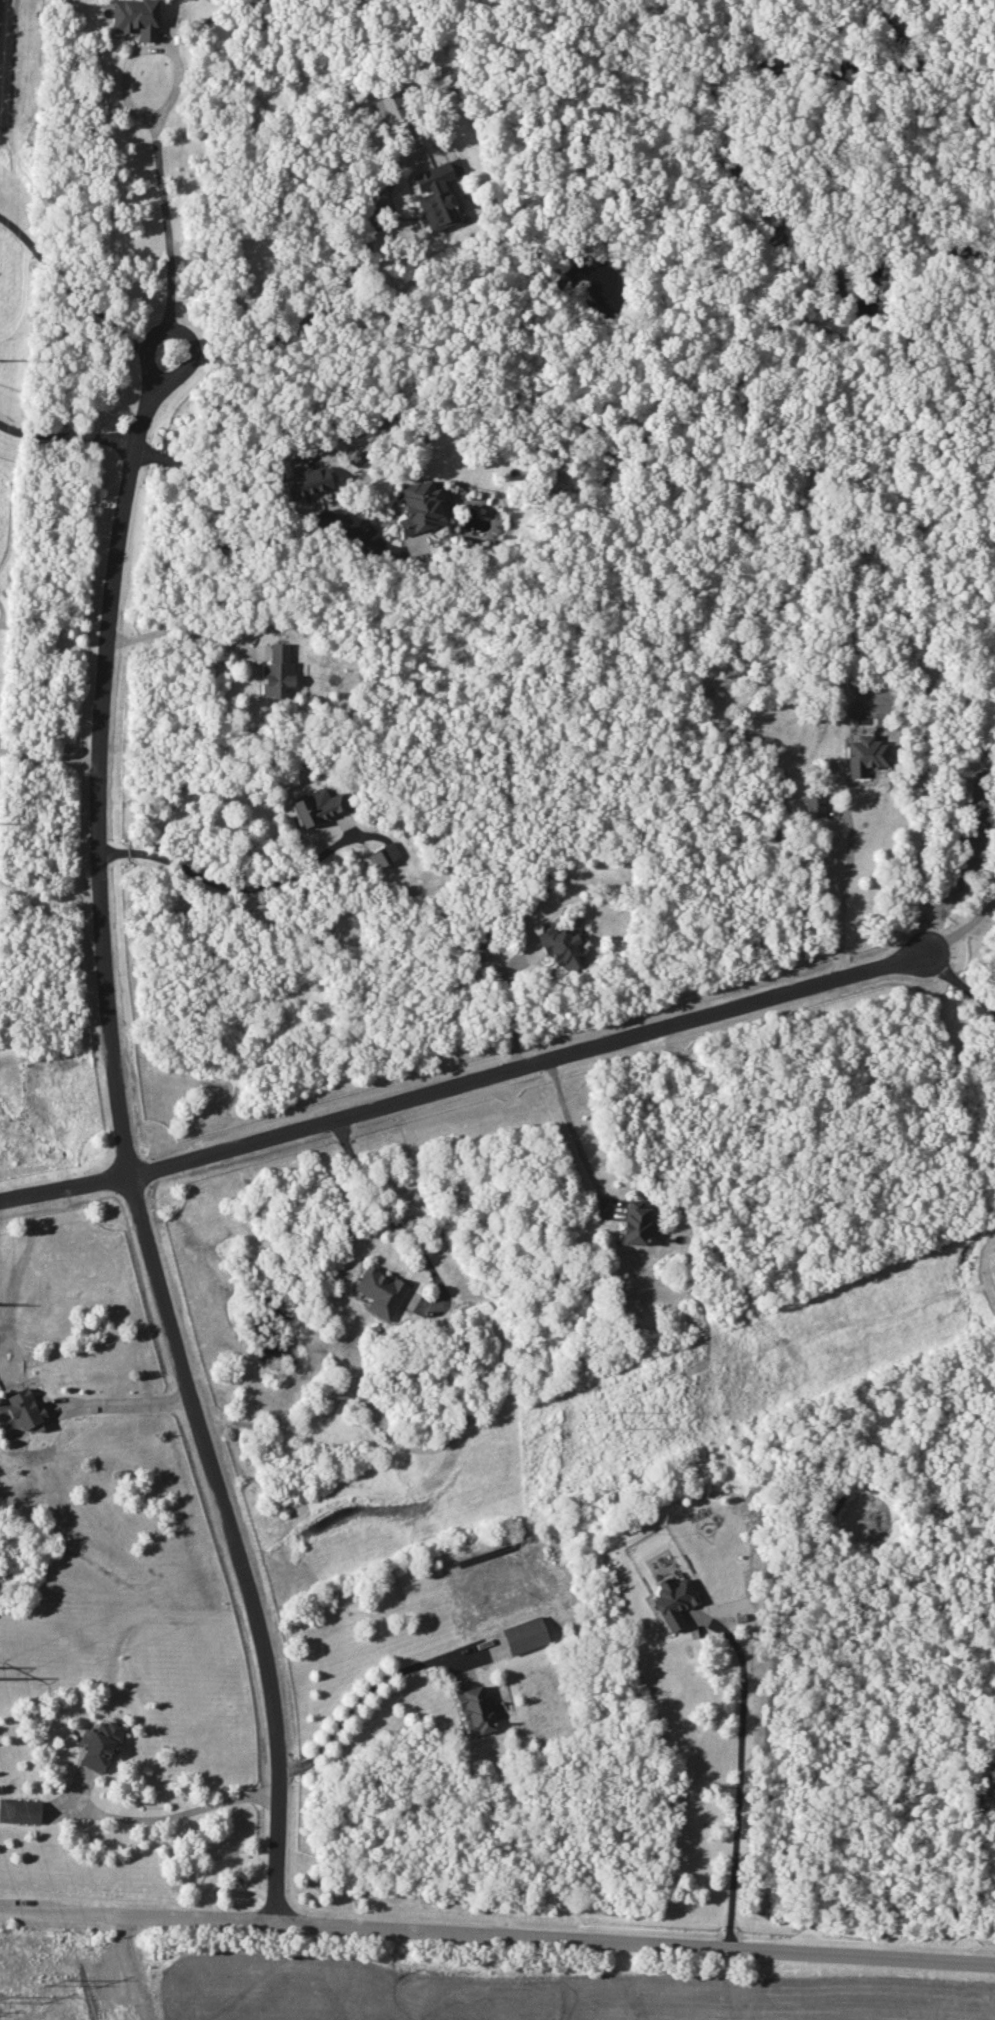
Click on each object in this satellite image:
building: (135, 17)
building: (389, 107)
building: (437, 193)
road: (162, 199)
road: (68, 288)
road: (331, 295)
power tower: (6, 359)
road: (69, 423)
building: (356, 458)
building: (307, 482)
building: (421, 507)
road: (257, 542)
road: (185, 623)
building: (277, 671)
building: (860, 730)
building: (865, 755)
road: (47, 760)
building: (813, 804)
building: (318, 805)
building: (385, 854)
road: (840, 884)
road: (241, 887)
road: (47, 889)
road: (961, 927)
building: (560, 946)
building: (478, 949)
road: (957, 978)
road: (508, 1006)
road: (462, 1074)
road: (113, 1080)
road: (571, 1129)
road: (392, 1219)
building: (635, 1222)
building: (380, 1291)
road: (121, 1399)
building: (23, 1408)
power tower: (620, 1415)
building: (673, 1600)
building: (524, 1634)
road: (360, 1693)
building: (474, 1709)
building: (98, 1744)
building: (994, 1752)
road: (738, 1774)
building: (992, 1774)
building: (20, 1810)
road: (173, 1818)
road: (497, 1939)
road: (132, 1969)
power tower: (62, 1980)
power tower: (6, 1996)

